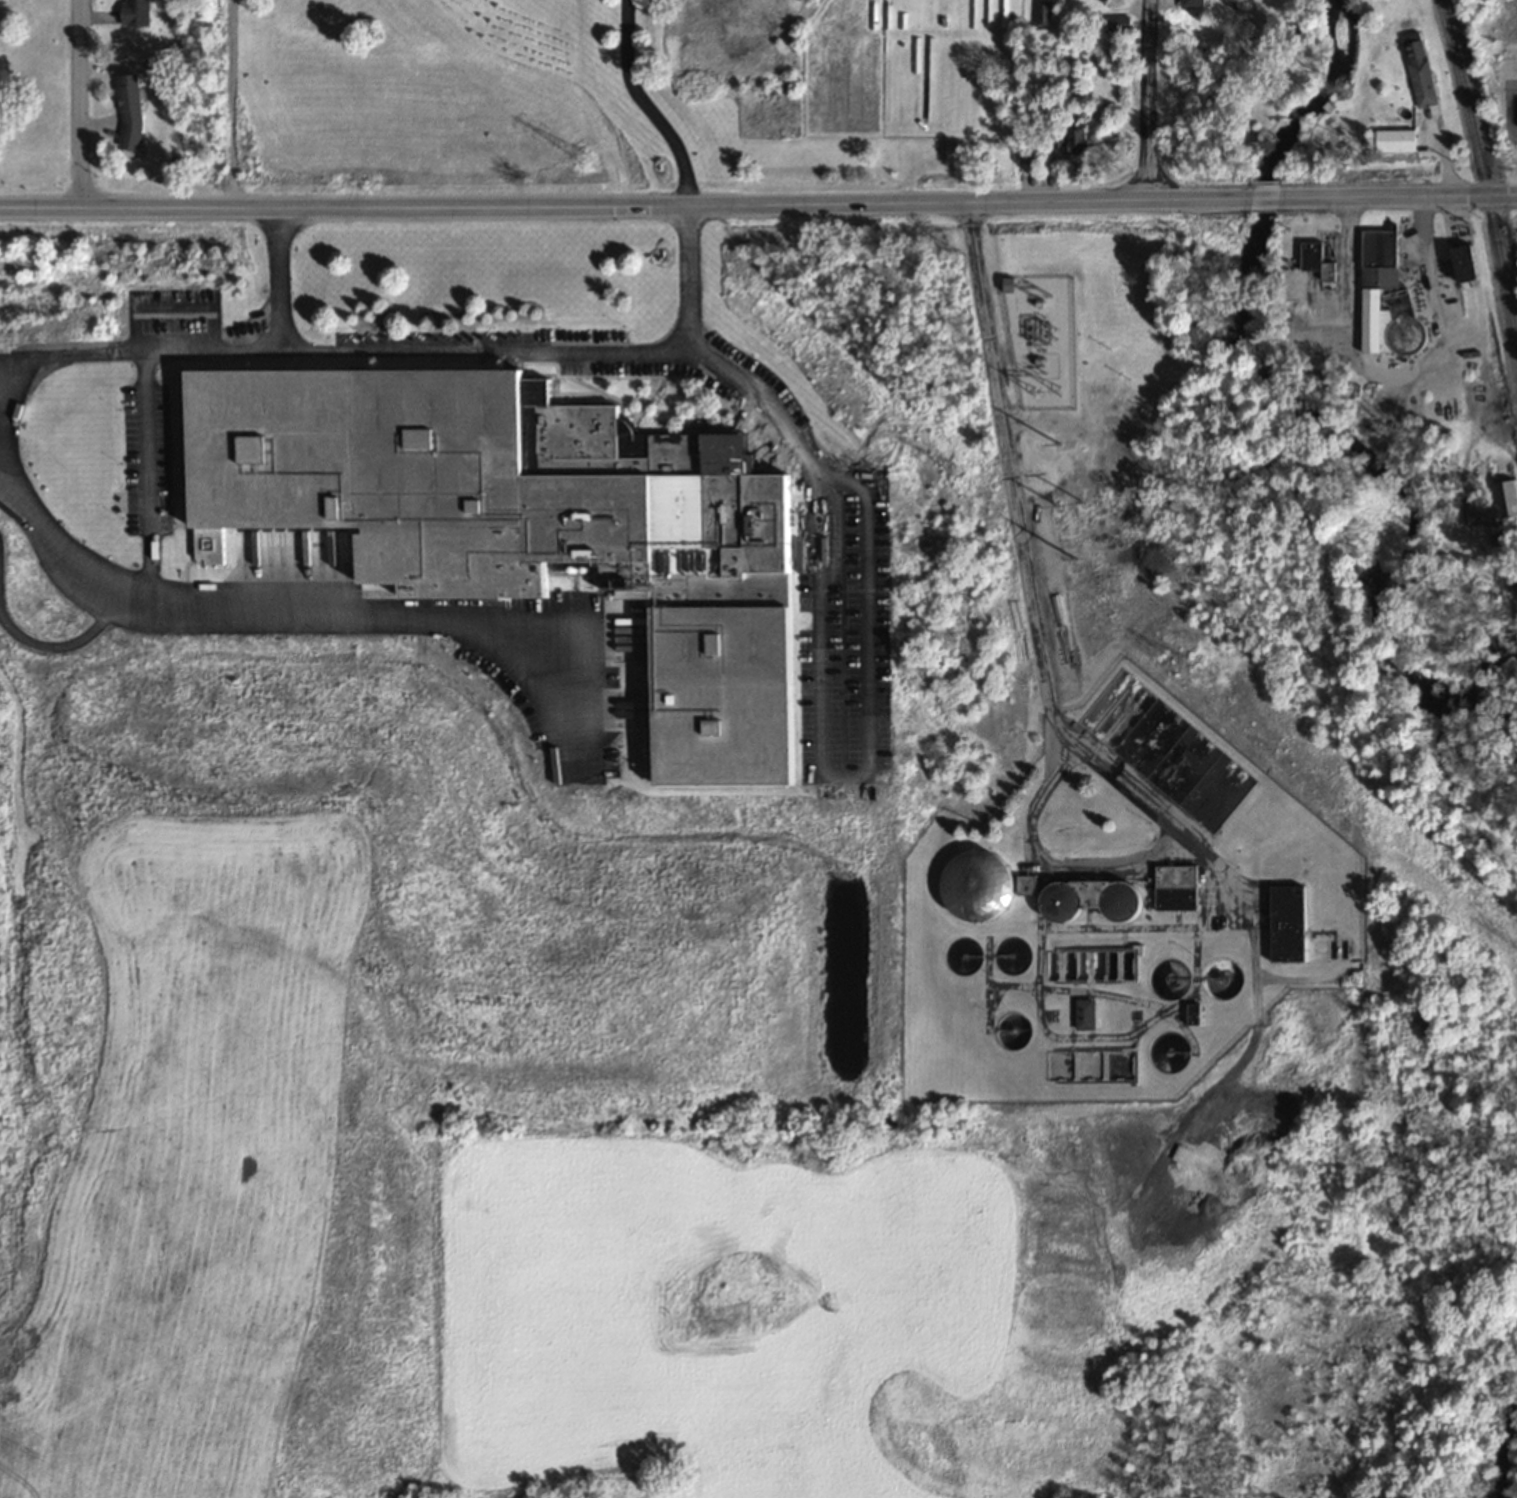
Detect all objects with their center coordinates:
building: (1196, 3)
building: (1043, 11)
building: (137, 12)
building: (972, 12)
building: (987, 12)
building: (1018, 12)
building: (957, 13)
building: (1002, 13)
building: (900, 16)
building: (1113, 23)
building: (1419, 68)
road: (1148, 99)
road: (82, 104)
road: (647, 104)
building: (133, 110)
building: (1398, 139)
building: (1081, 140)
building: (958, 152)
railway: (1479, 179)
road: (1400, 195)
road: (1268, 197)
road: (626, 206)
building: (1318, 259)
building: (1467, 264)
power tower: (1040, 292)
building: (1373, 303)
power substation: (1040, 329)
road: (281, 347)
road: (484, 351)
road: (2, 377)
river: (1307, 395)
road: (143, 409)
building: (1507, 484)
building: (1512, 504)
building: (595, 508)
building: (1492, 523)
road: (296, 615)
road: (817, 655)
building: (1164, 750)
building: (976, 883)
building: (1177, 887)
building: (1291, 924)
building: (1091, 931)
building: (1086, 1014)
building: (1196, 1015)

